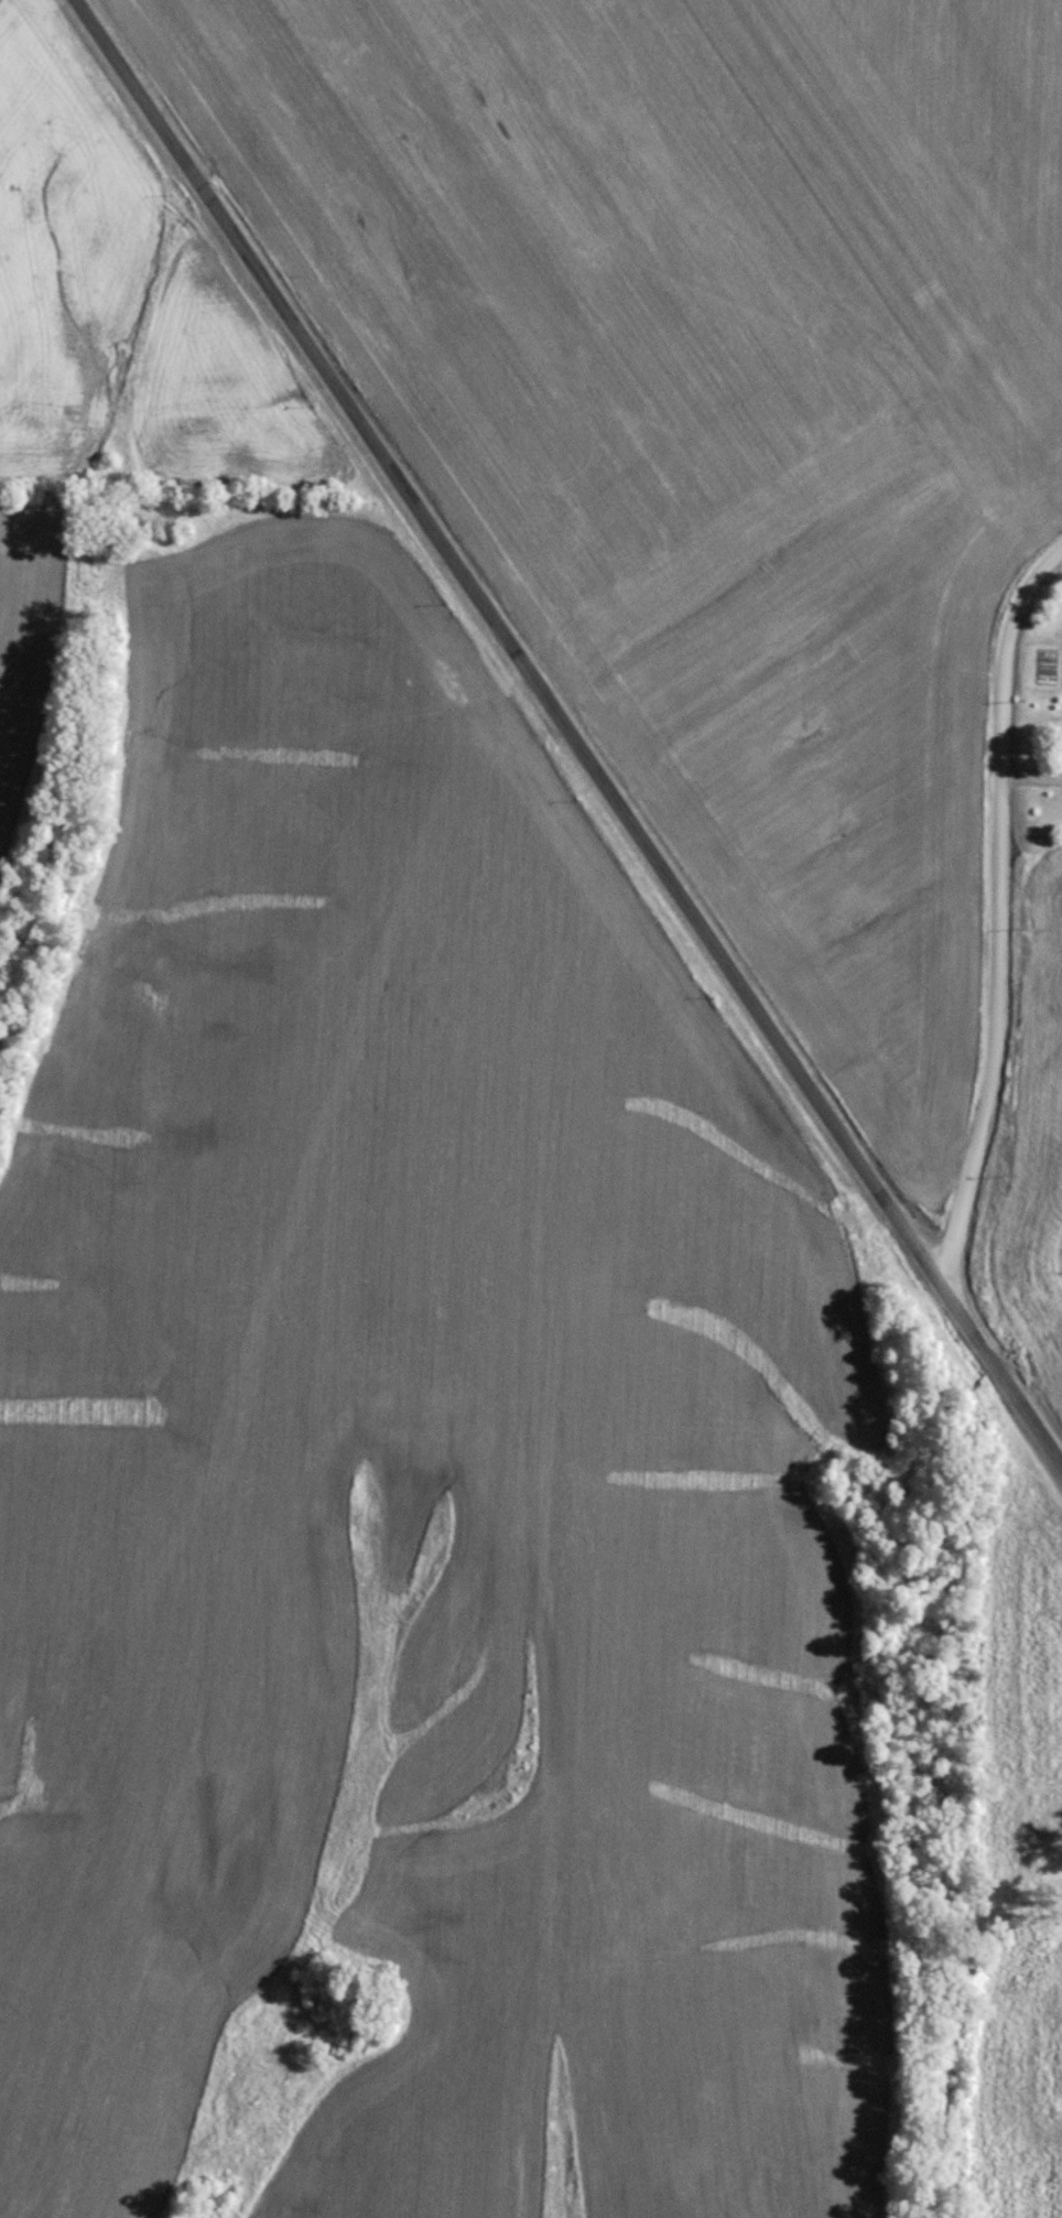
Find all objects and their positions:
road: (510, 642)
road: (996, 910)
road: (1004, 1374)

